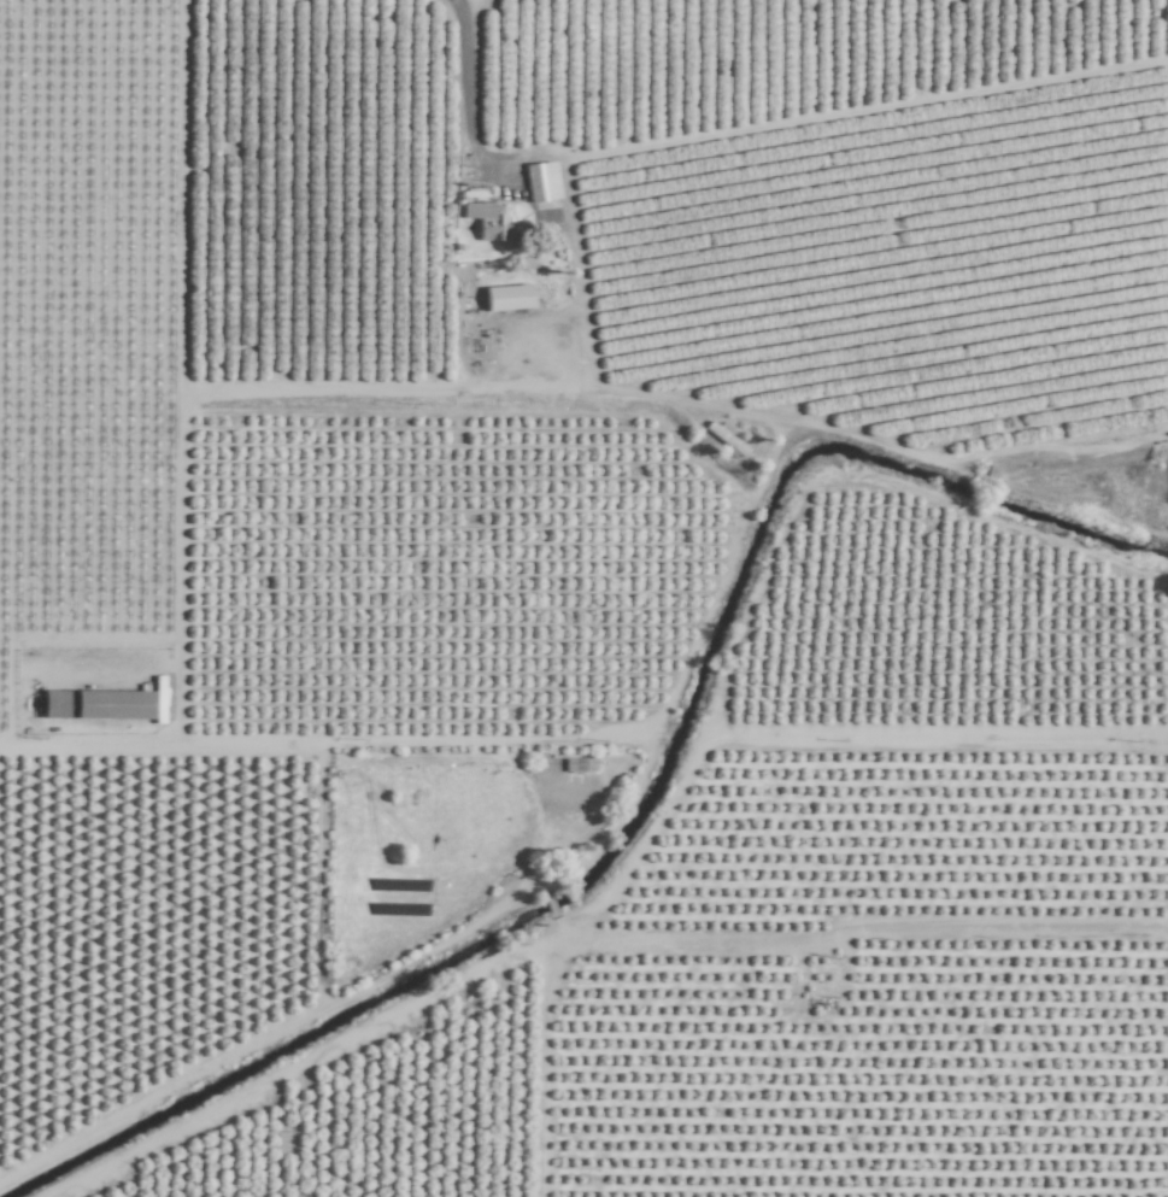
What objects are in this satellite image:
road: (469, 88)
building: (541, 182)
building: (477, 210)
building: (509, 298)
road: (439, 391)
building: (96, 704)
road: (84, 740)
building: (579, 764)
road: (562, 867)

